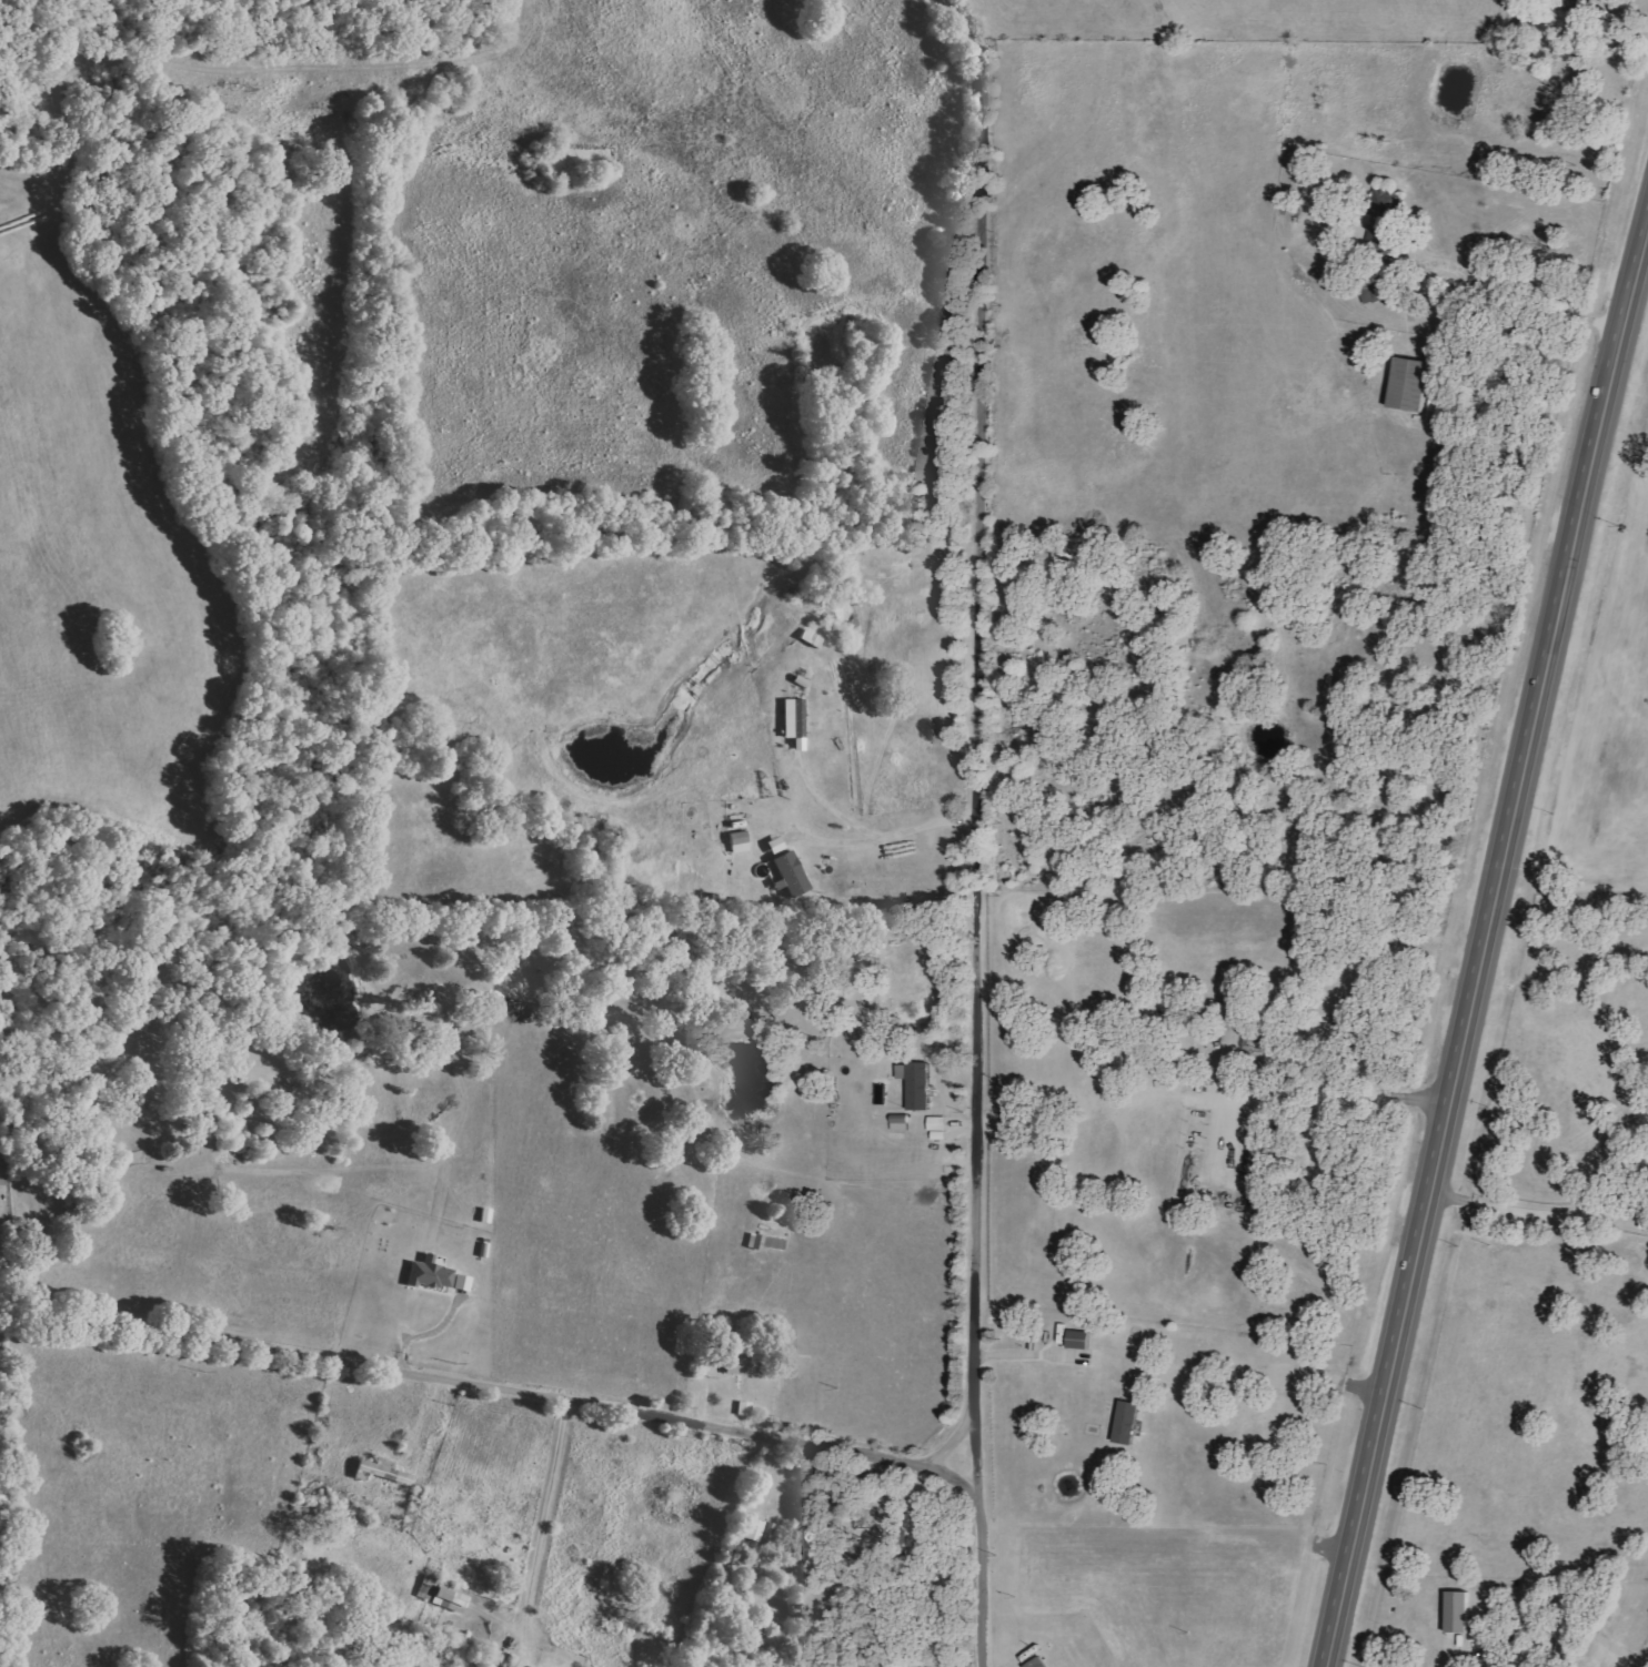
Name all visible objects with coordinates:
building: (1383, 219)
building: (1411, 385)
building: (795, 723)
road: (978, 751)
road: (838, 808)
road: (888, 835)
building: (777, 846)
building: (793, 873)
road: (1484, 960)
building: (1230, 1011)
building: (917, 1084)
building: (901, 1124)
building: (432, 1273)
building: (463, 1282)
building: (1079, 1340)
building: (737, 1357)
road: (502, 1388)
building: (745, 1408)
building: (1128, 1423)
building: (382, 1471)
road: (547, 1514)
building: (756, 1529)
building: (429, 1587)
road: (983, 1590)
building: (452, 1597)
building: (1460, 1612)
building: (1039, 1663)

